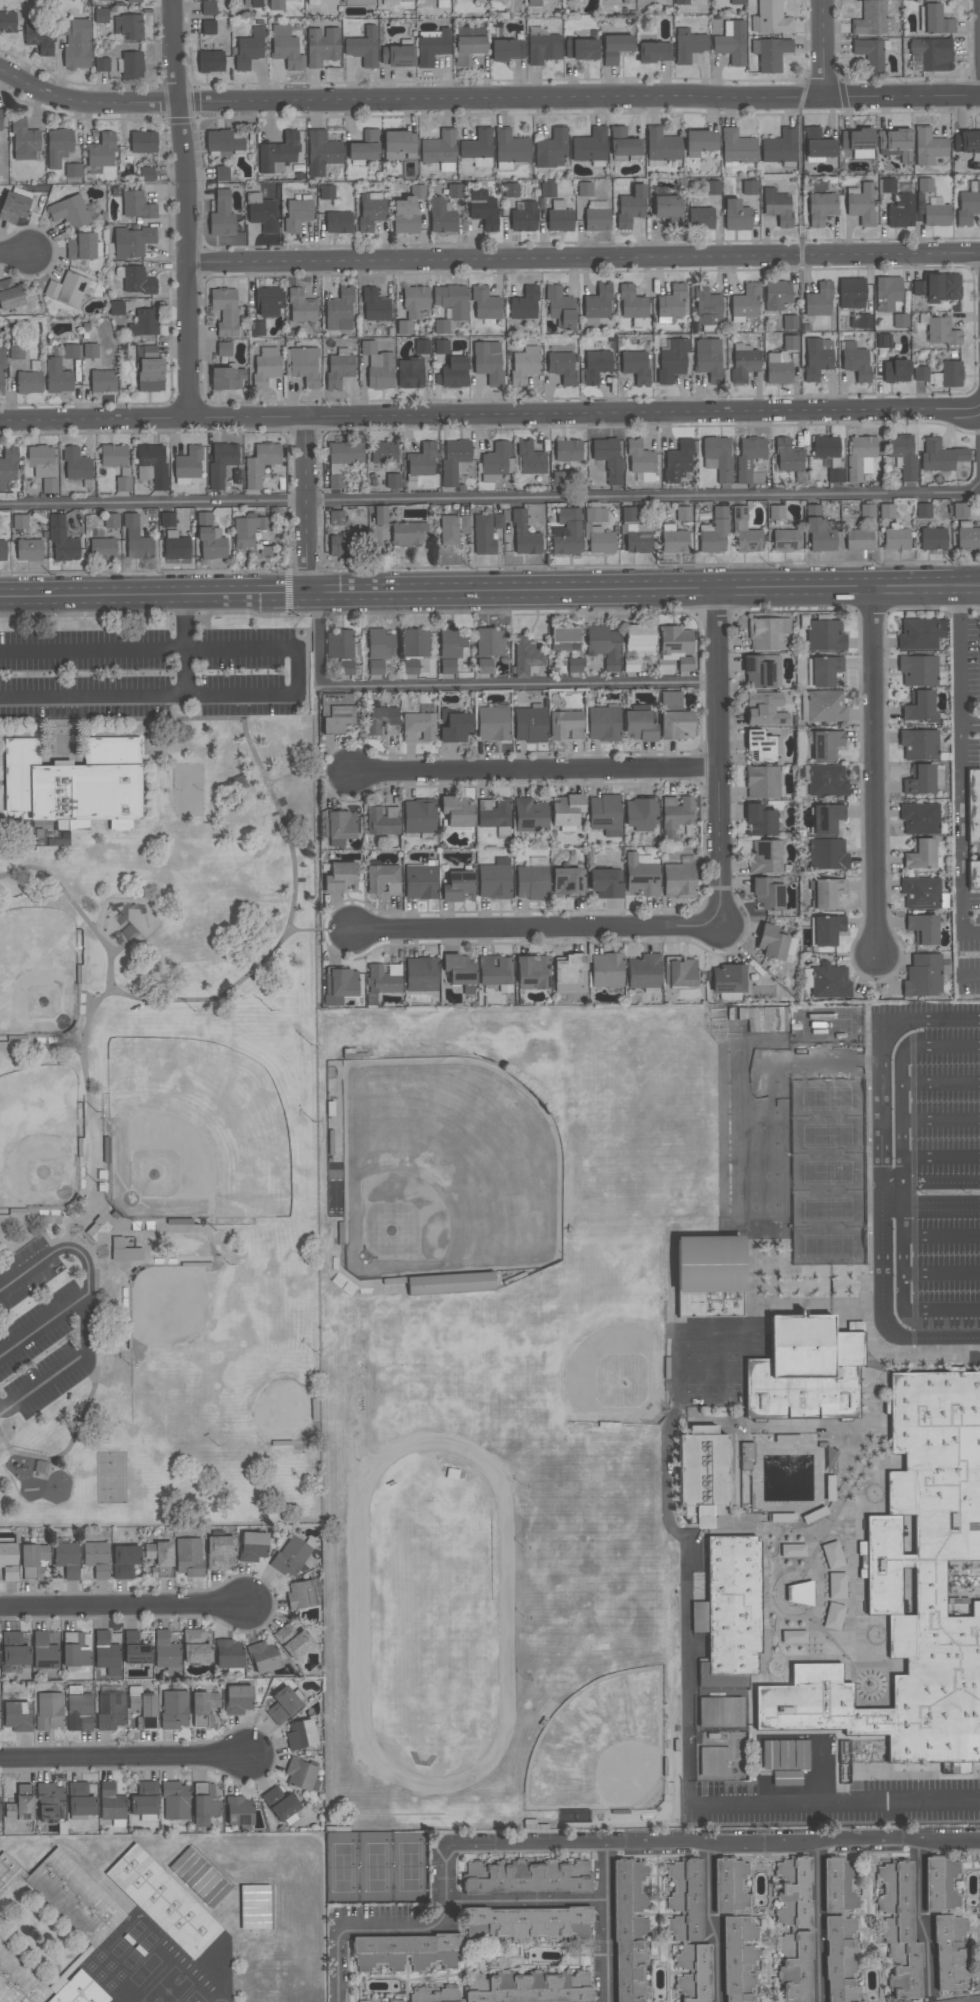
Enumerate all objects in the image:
building: (120, 0)
building: (419, 0)
building: (496, 0)
building: (577, 0)
building: (627, 1)
building: (313, 2)
building: (389, 2)
building: (681, 2)
building: (736, 2)
building: (252, 3)
building: (359, 3)
building: (534, 3)
building: (277, 5)
building: (208, 8)
building: (770, 18)
building: (872, 19)
building: (936, 21)
building: (7, 23)
building: (128, 27)
building: (208, 27)
building: (39, 38)
building: (75, 43)
building: (731, 43)
building: (688, 45)
building: (322, 46)
building: (432, 46)
building: (542, 46)
building: (286, 48)
building: (363, 48)
building: (615, 48)
road: (822, 48)
building: (249, 49)
building: (468, 49)
building: (581, 49)
building: (507, 50)
building: (654, 52)
building: (869, 54)
building: (932, 54)
building: (772, 55)
building: (397, 56)
building: (210, 61)
building: (132, 65)
road: (487, 98)
building: (0, 119)
building: (24, 141)
building: (143, 142)
building: (222, 142)
building: (858, 142)
building: (966, 142)
building: (700, 143)
building: (623, 144)
building: (896, 144)
building: (399, 146)
building: (817, 146)
building: (364, 147)
building: (590, 147)
building: (737, 147)
building: (780, 147)
building: (928, 147)
building: (58, 148)
building: (661, 148)
building: (510, 149)
building: (552, 149)
building: (439, 150)
building: (477, 150)
building: (101, 151)
building: (278, 152)
building: (322, 153)
building: (73, 170)
building: (147, 174)
building: (222, 174)
building: (924, 185)
building: (310, 186)
building: (887, 186)
building: (712, 188)
building: (749, 188)
building: (584, 189)
building: (511, 190)
building: (547, 190)
building: (454, 191)
building: (326, 192)
building: (861, 204)
building: (968, 204)
building: (136, 205)
building: (13, 207)
building: (631, 207)
building: (777, 207)
building: (821, 208)
road: (185, 209)
building: (482, 209)
building: (901, 209)
building: (371, 210)
building: (668, 210)
building: (408, 211)
building: (69, 212)
building: (261, 212)
building: (936, 213)
building: (297, 214)
building: (221, 215)
building: (441, 215)
building: (597, 216)
building: (736, 216)
building: (524, 218)
building: (559, 218)
building: (700, 218)
building: (338, 223)
building: (132, 242)
building: (83, 247)
road: (16, 255)
road: (582, 260)
building: (136, 281)
building: (938, 287)
building: (67, 289)
building: (851, 293)
building: (887, 293)
building: (10, 295)
building: (776, 295)
building: (819, 300)
building: (268, 301)
building: (451, 301)
building: (415, 302)
building: (746, 302)
building: (632, 303)
building: (485, 304)
building: (671, 304)
building: (525, 305)
building: (597, 305)
building: (374, 306)
building: (301, 307)
building: (115, 308)
building: (560, 308)
building: (708, 309)
building: (225, 311)
building: (339, 311)
building: (860, 321)
building: (900, 321)
building: (789, 322)
building: (144, 323)
building: (404, 327)
building: (441, 327)
building: (256, 328)
building: (942, 332)
building: (0, 339)
building: (790, 342)
building: (422, 346)
building: (441, 346)
building: (223, 349)
building: (16, 352)
building: (71, 352)
building: (817, 358)
building: (709, 359)
building: (671, 360)
building: (855, 361)
building: (488, 362)
building: (743, 363)
building: (302, 365)
building: (523, 365)
building: (378, 366)
building: (596, 366)
building: (635, 366)
building: (265, 367)
building: (562, 367)
building: (778, 368)
building: (339, 369)
building: (2, 370)
building: (149, 370)
building: (896, 371)
building: (410, 373)
building: (454, 373)
building: (920, 374)
building: (951, 374)
building: (57, 377)
building: (226, 379)
building: (103, 381)
building: (29, 382)
road: (490, 418)
building: (825, 447)
building: (568, 451)
building: (384, 453)
building: (113, 455)
building: (859, 455)
building: (902, 455)
building: (940, 455)
building: (748, 457)
building: (788, 457)
building: (717, 458)
building: (530, 459)
building: (608, 459)
building: (342, 460)
building: (454, 460)
building: (422, 461)
building: (678, 461)
building: (496, 462)
building: (641, 462)
building: (188, 463)
building: (221, 464)
building: (260, 464)
building: (76, 465)
building: (8, 466)
building: (43, 466)
building: (152, 466)
building: (833, 476)
building: (393, 481)
building: (123, 484)
road: (491, 501)
road: (307, 507)
building: (960, 510)
building: (886, 511)
building: (923, 511)
building: (776, 512)
building: (867, 512)
building: (683, 514)
building: (380, 515)
building: (111, 521)
building: (20, 522)
building: (248, 529)
building: (453, 529)
building: (489, 530)
building: (567, 531)
building: (597, 531)
building: (634, 531)
building: (714, 532)
building: (745, 532)
building: (175, 533)
building: (524, 533)
building: (407, 534)
building: (967, 535)
building: (338, 536)
building: (896, 538)
building: (932, 538)
building: (209, 539)
building: (674, 539)
building: (785, 539)
building: (858, 539)
building: (62, 540)
building: (136, 540)
building: (102, 549)
building: (2, 550)
building: (29, 550)
road: (490, 591)
road: (186, 624)
building: (767, 633)
building: (920, 634)
building: (825, 635)
building: (564, 639)
building: (639, 639)
building: (674, 640)
building: (416, 642)
building: (489, 642)
building: (341, 645)
building: (603, 646)
building: (449, 648)
building: (378, 649)
road: (962, 653)
building: (526, 656)
building: (684, 664)
building: (573, 665)
building: (410, 666)
building: (484, 666)
building: (345, 668)
building: (825, 669)
building: (918, 670)
parking lot: (151, 673)
road: (298, 674)
road: (186, 676)
road: (470, 688)
building: (826, 706)
building: (919, 706)
building: (765, 709)
building: (338, 714)
building: (674, 717)
building: (382, 721)
road: (971, 722)
road: (243, 724)
building: (492, 724)
building: (529, 724)
building: (565, 724)
building: (603, 724)
building: (454, 725)
building: (638, 725)
building: (418, 727)
road: (37, 732)
road: (145, 743)
building: (919, 743)
building: (826, 744)
building: (760, 746)
road: (718, 758)
road: (874, 772)
road: (534, 773)
road: (292, 774)
building: (919, 780)
building: (762, 781)
building: (827, 781)
road: (2, 783)
building: (75, 785)
park: (188, 791)
building: (973, 806)
building: (566, 808)
building: (456, 811)
building: (494, 812)
building: (677, 812)
building: (639, 813)
building: (605, 814)
building: (530, 815)
building: (419, 816)
building: (827, 818)
building: (919, 818)
building: (761, 819)
building: (382, 820)
road: (17, 825)
building: (339, 826)
road: (961, 826)
building: (502, 833)
building: (828, 854)
building: (921, 855)
building: (766, 858)
building: (641, 875)
building: (973, 875)
building: (341, 877)
building: (383, 878)
building: (679, 878)
building: (532, 879)
building: (566, 880)
building: (421, 881)
building: (493, 881)
building: (604, 882)
building: (458, 886)
building: (828, 892)
building: (920, 892)
building: (767, 894)
building: (922, 928)
road: (538, 930)
building: (826, 930)
road: (970, 931)
building: (771, 942)
building: (532, 970)
building: (606, 970)
building: (459, 971)
building: (495, 971)
building: (682, 971)
building: (570, 973)
building: (644, 973)
park: (39, 974)
building: (421, 974)
road: (968, 974)
building: (923, 976)
building: (384, 978)
building: (341, 981)
building: (729, 981)
building: (829, 981)
road: (118, 993)
building: (761, 1019)
road: (945, 1019)
road: (901, 1065)
park: (160, 1073)
road: (940, 1082)
park: (208, 1119)
road: (940, 1120)
park: (625, 1123)
park: (755, 1133)
park: (40, 1140)
road: (92, 1155)
road: (880, 1155)
park: (828, 1156)
road: (941, 1157)
road: (901, 1171)
park: (450, 1172)
road: (930, 1184)
road: (930, 1207)
road: (904, 1221)
road: (145, 1231)
building: (97, 1234)
road: (940, 1234)
road: (209, 1244)
building: (128, 1254)
road: (164, 1262)
road: (123, 1269)
road: (901, 1271)
road: (941, 1271)
building: (709, 1275)
road: (88, 1279)
building: (450, 1283)
road: (940, 1311)
park: (174, 1323)
parking lot: (45, 1329)
road: (97, 1330)
road: (920, 1338)
park: (605, 1359)
road: (65, 1368)
building: (805, 1370)
park: (478, 1375)
park: (272, 1401)
road: (20, 1453)
building: (746, 1456)
building: (702, 1474)
park: (111, 1478)
building: (252, 1546)
park: (590, 1547)
building: (219, 1552)
building: (158, 1553)
building: (832, 1555)
building: (189, 1557)
building: (291, 1557)
building: (67, 1559)
building: (96, 1559)
building: (33, 1561)
building: (124, 1561)
building: (8, 1562)
building: (836, 1586)
building: (911, 1590)
building: (798, 1593)
building: (301, 1595)
road: (125, 1609)
building: (729, 1612)
park: (436, 1615)
building: (833, 1618)
building: (292, 1641)
building: (195, 1647)
building: (13, 1649)
building: (134, 1649)
building: (74, 1650)
building: (44, 1652)
building: (166, 1652)
building: (106, 1654)
building: (228, 1654)
building: (263, 1657)
building: (238, 1700)
building: (283, 1706)
building: (204, 1708)
building: (78, 1710)
building: (110, 1710)
building: (174, 1710)
building: (49, 1711)
building: (720, 1712)
building: (17, 1716)
building: (300, 1734)
park: (601, 1742)
road: (799, 1743)
road: (122, 1760)
building: (714, 1761)
building: (300, 1774)
building: (80, 1800)
building: (145, 1801)
building: (175, 1801)
building: (49, 1802)
building: (111, 1802)
building: (20, 1804)
road: (704, 1804)
building: (204, 1805)
building: (282, 1805)
building: (239, 1811)
road: (687, 1842)
park: (376, 1869)
building: (199, 1877)
building: (528, 1878)
building: (839, 1885)
building: (730, 1886)
building: (941, 1886)
building: (67, 1895)
building: (163, 1902)
road: (462, 1903)
building: (254, 1907)
road: (919, 1921)
building: (533, 1922)
road: (604, 1922)
road: (713, 1922)
road: (815, 1922)
building: (688, 1928)
building: (629, 1929)
building: (794, 1929)
building: (899, 1929)
building: (749, 1930)
park: (257, 1949)
building: (406, 1952)
building: (950, 1954)
building: (738, 1964)
road: (338, 1969)
building: (529, 1988)
building: (433, 1995)
building: (364, 2001)
road: (972, 2001)

